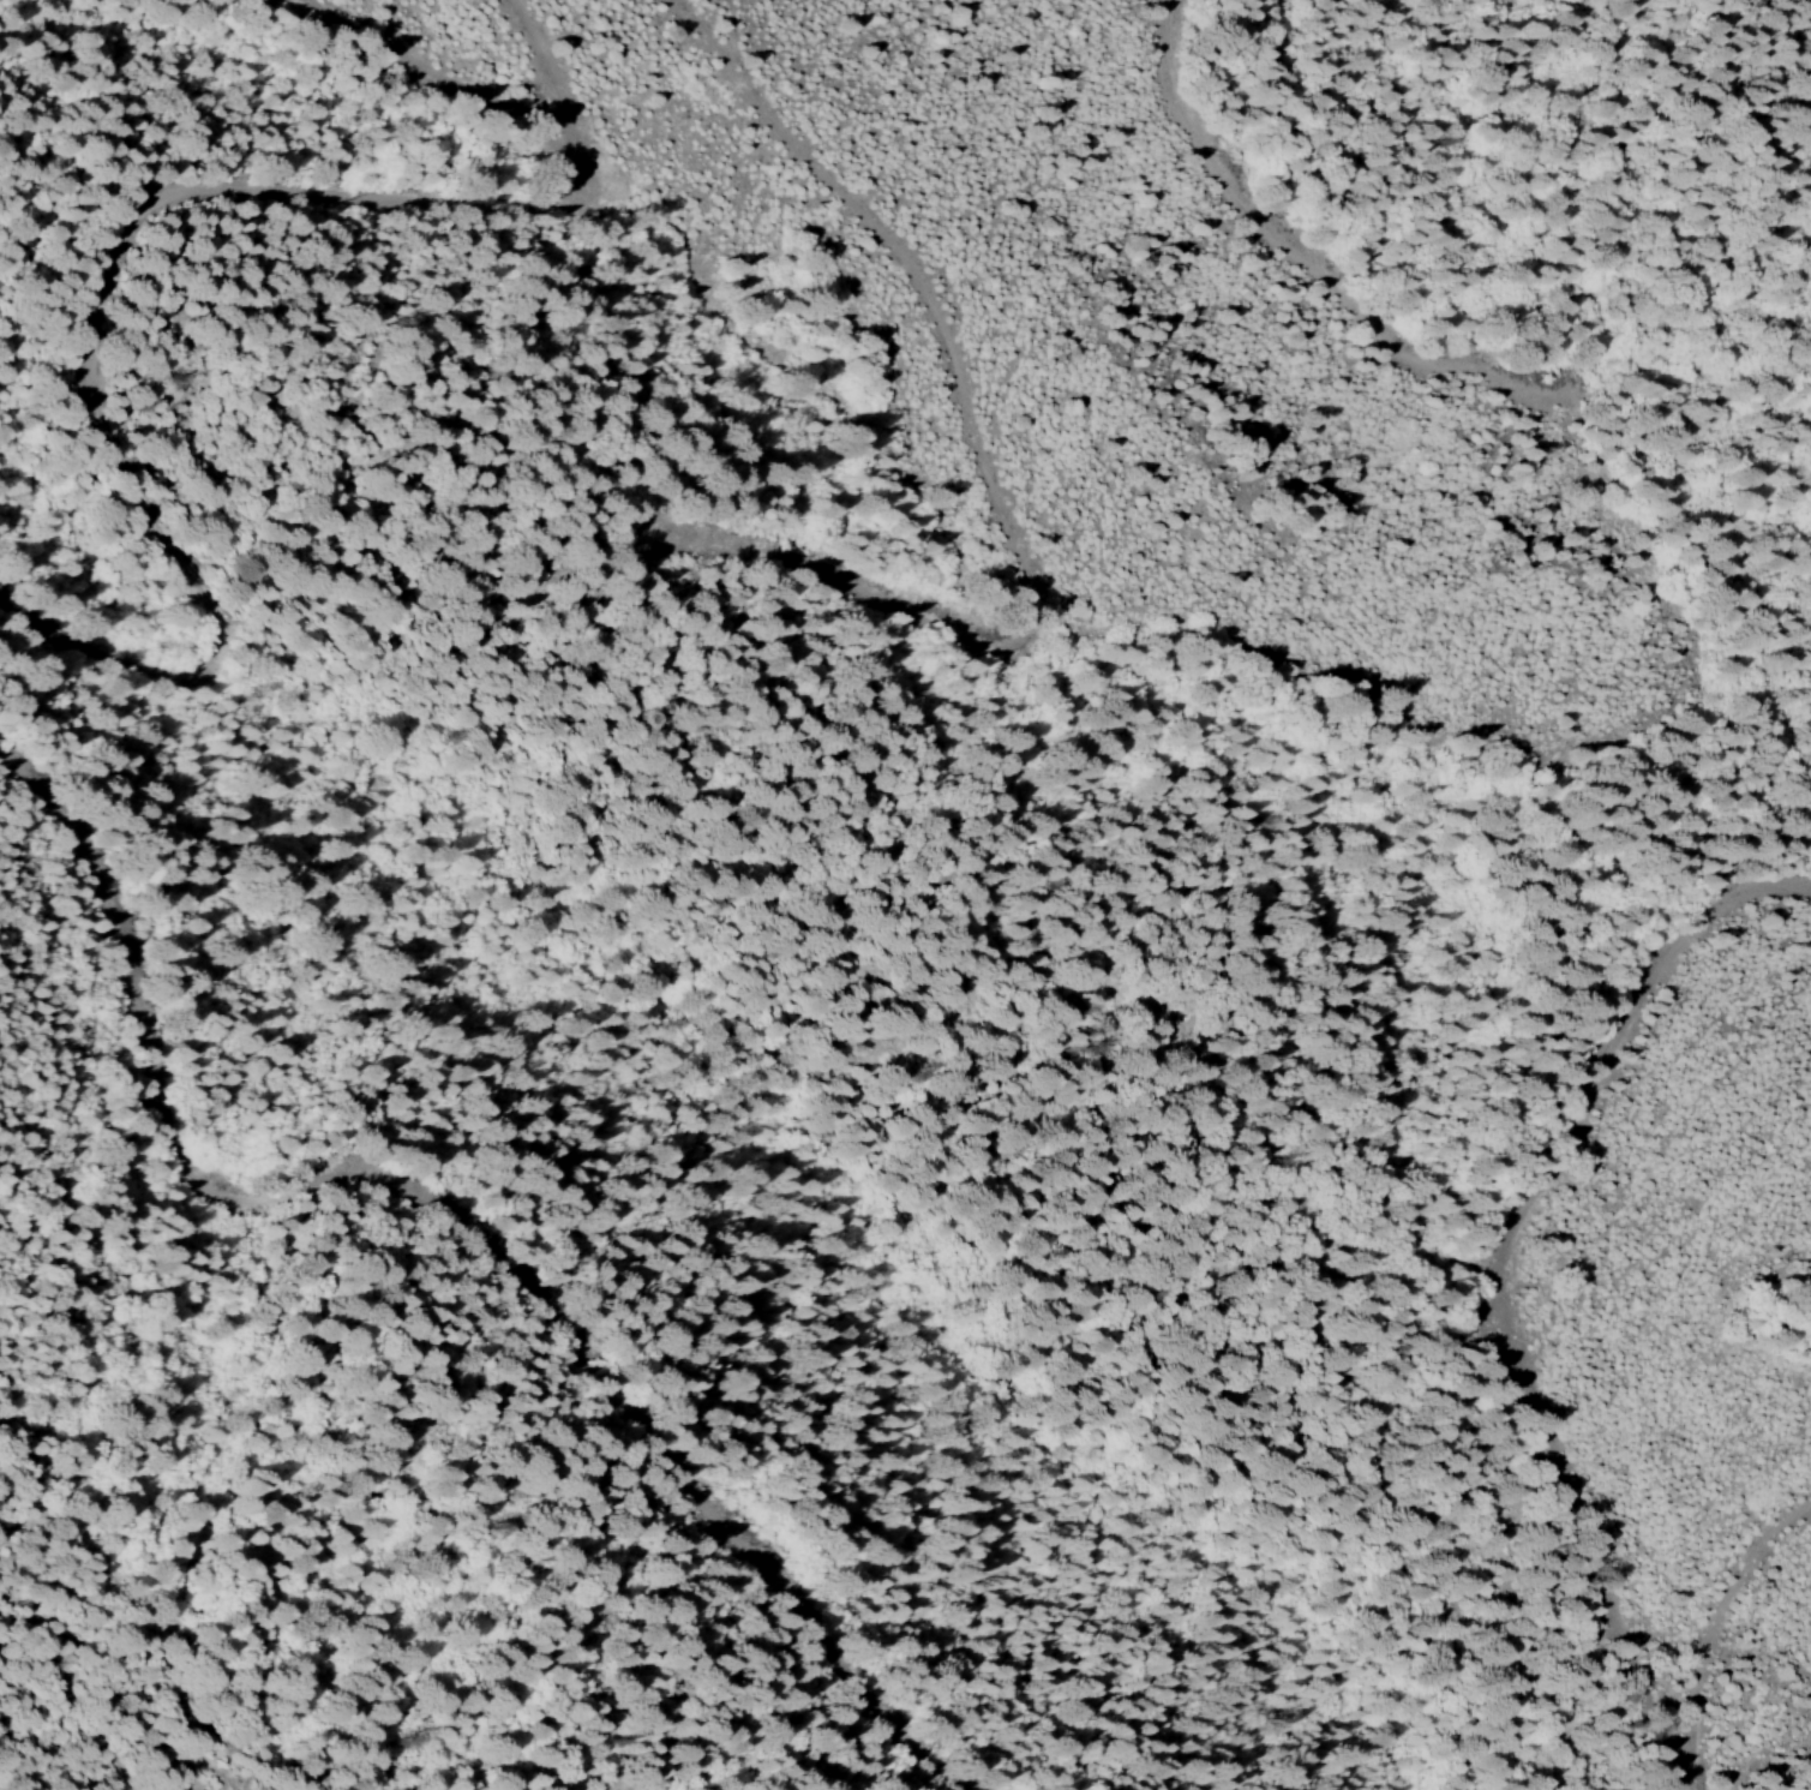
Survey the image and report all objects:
road: (444, 79)
road: (110, 264)
road: (461, 1217)
road: (1511, 1283)

